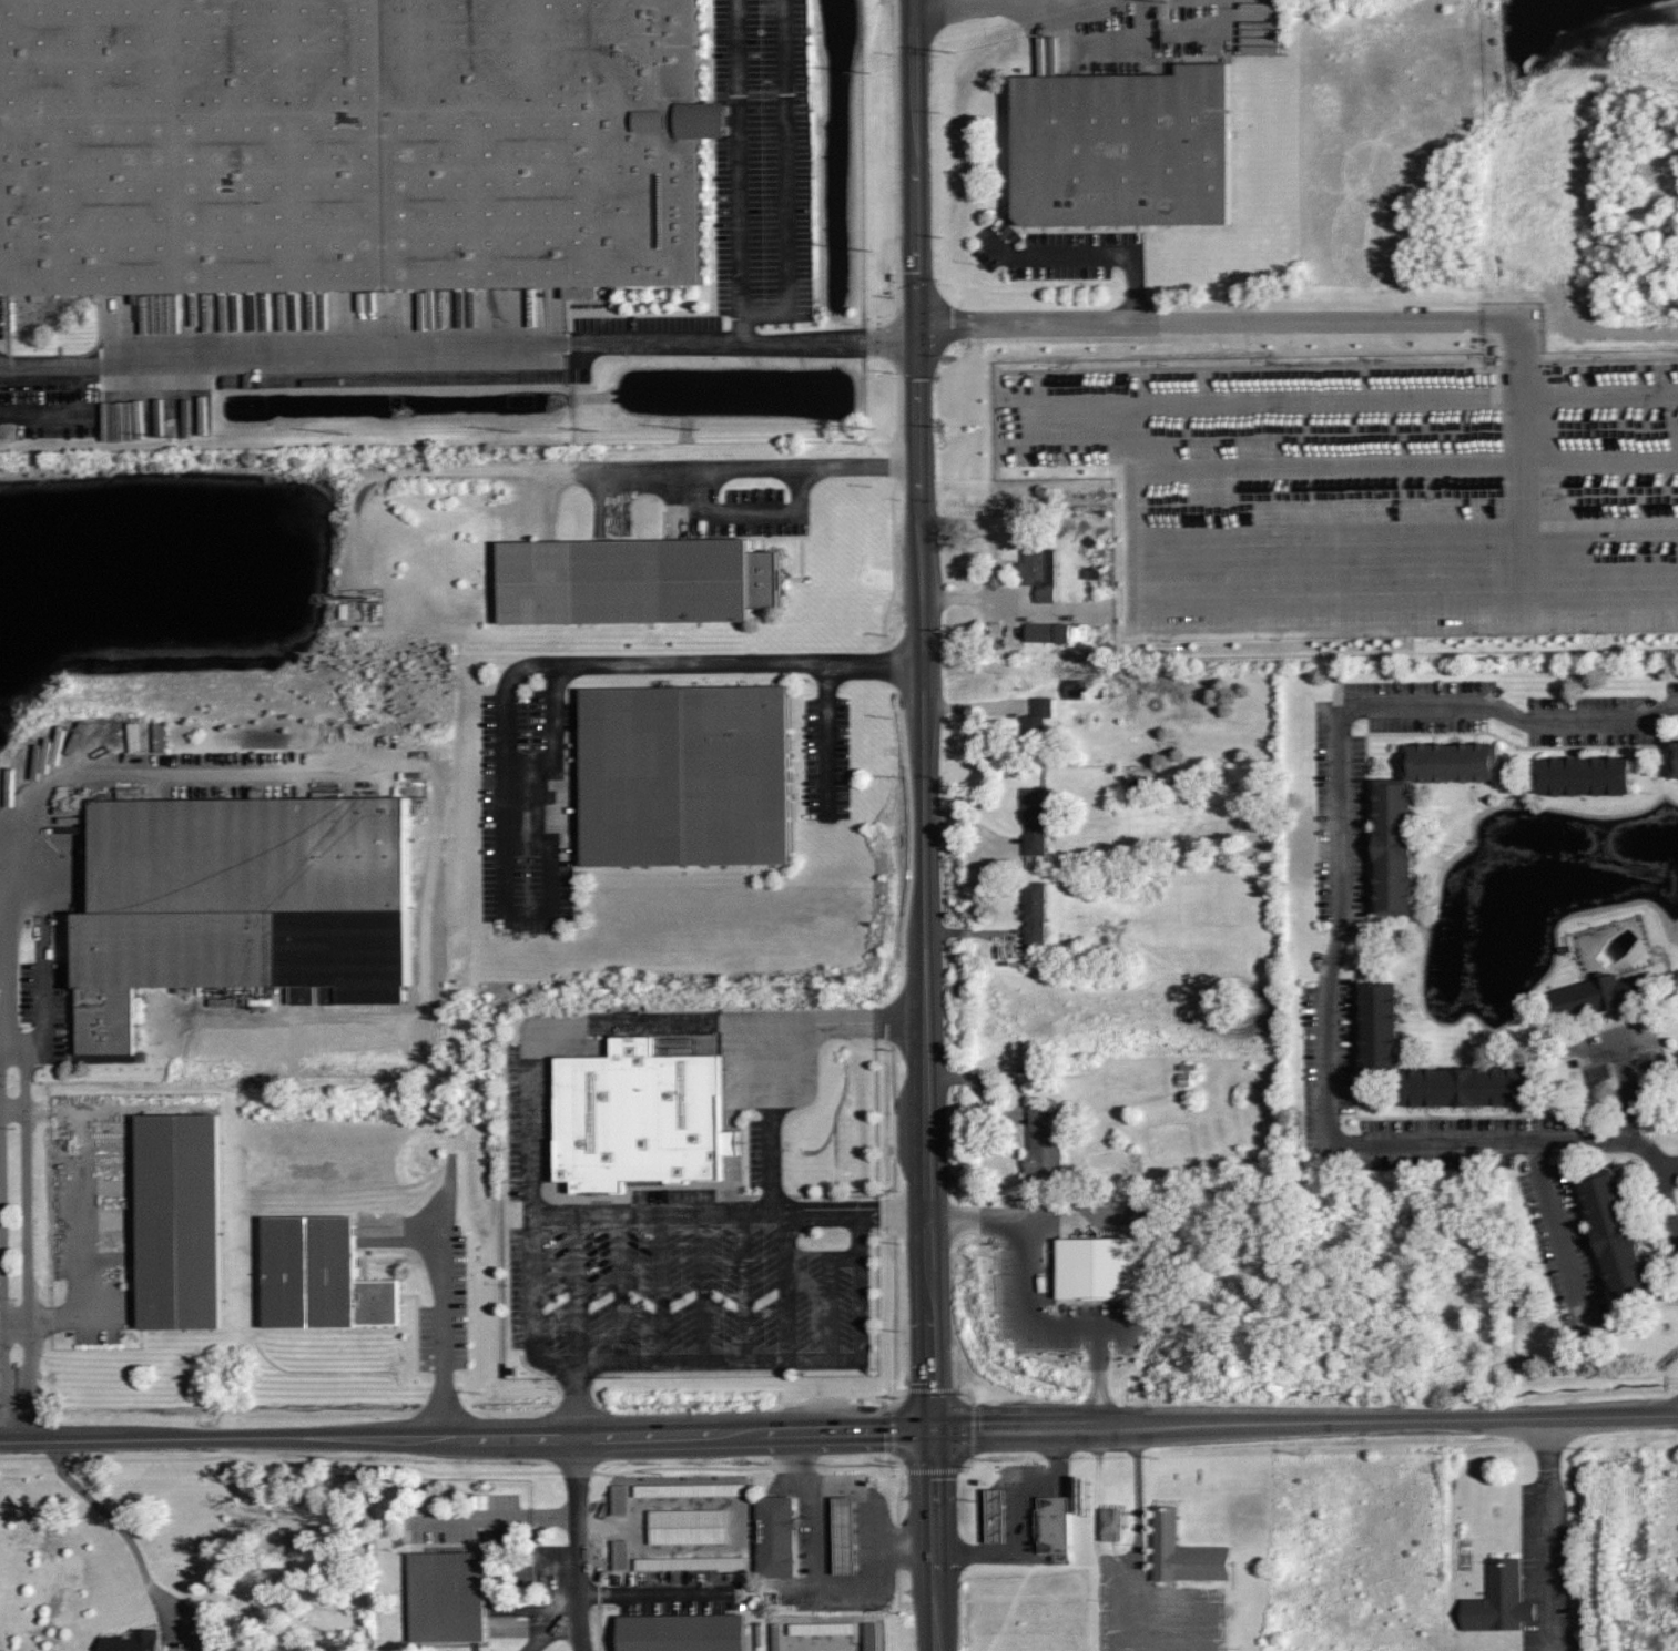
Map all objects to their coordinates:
road: (962, 8)
building: (354, 147)
building: (1127, 149)
road: (739, 170)
road: (786, 179)
road: (1096, 254)
road: (1468, 318)
road: (1046, 322)
road: (459, 346)
road: (711, 465)
road: (752, 511)
building: (1039, 571)
building: (637, 577)
building: (1051, 633)
building: (1084, 633)
building: (1079, 690)
road: (1639, 716)
building: (1036, 723)
road: (506, 731)
road: (827, 741)
building: (1676, 760)
road: (74, 773)
building: (1586, 775)
building: (689, 779)
building: (1395, 806)
building: (1035, 821)
road: (926, 825)
building: (223, 893)
building: (1036, 914)
road: (47, 918)
building: (1598, 998)
road: (1325, 1003)
road: (47, 1016)
building: (1381, 1025)
road: (1601, 1053)
road: (535, 1054)
road: (1628, 1079)
road: (17, 1110)
road: (774, 1114)
building: (639, 1117)
building: (1045, 1143)
road: (1670, 1164)
road: (734, 1211)
building: (182, 1219)
road: (1562, 1227)
building: (1616, 1236)
road: (6, 1242)
road: (29, 1245)
road: (81, 1249)
building: (1098, 1268)
building: (324, 1275)
road: (579, 1288)
road: (623, 1288)
road: (664, 1288)
road: (706, 1288)
road: (748, 1288)
road: (792, 1288)
road: (835, 1295)
road: (1035, 1302)
road: (447, 1317)
road: (19, 1321)
road: (795, 1364)
road: (838, 1429)
road: (1135, 1500)
road: (555, 1516)
building: (997, 1516)
road: (474, 1517)
road: (1020, 1517)
road: (1548, 1518)
building: (1054, 1523)
road: (128, 1535)
building: (847, 1535)
building: (779, 1536)
road: (574, 1541)
building: (1179, 1550)
road: (818, 1581)
road: (652, 1594)
building: (446, 1597)
building: (1502, 1599)
building: (683, 1632)
building: (132, 1641)

